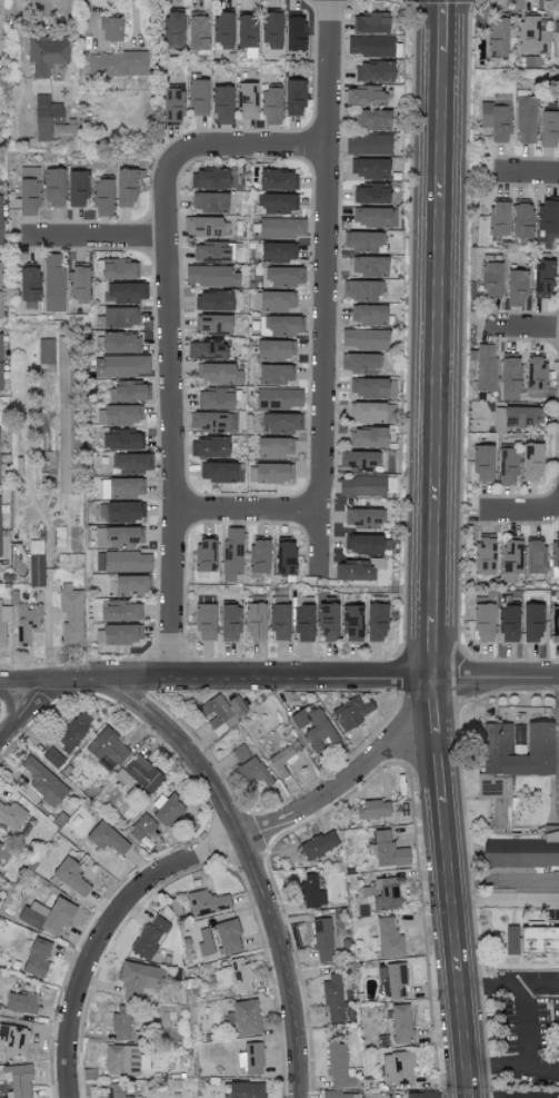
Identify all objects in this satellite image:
building: (369, 22)
building: (171, 29)
building: (109, 30)
building: (271, 30)
building: (196, 31)
building: (244, 31)
building: (496, 31)
building: (293, 32)
building: (530, 36)
building: (557, 43)
building: (369, 46)
building: (44, 57)
building: (116, 63)
building: (375, 71)
building: (197, 96)
building: (365, 96)
building: (293, 98)
building: (247, 100)
building: (221, 105)
building: (171, 106)
building: (270, 106)
building: (44, 117)
building: (496, 118)
building: (371, 120)
building: (526, 120)
building: (547, 129)
building: (367, 145)
road: (207, 149)
building: (369, 168)
road: (523, 170)
building: (214, 179)
building: (277, 180)
building: (52, 187)
building: (124, 188)
building: (76, 189)
building: (28, 190)
building: (370, 194)
building: (101, 197)
building: (209, 202)
building: (276, 204)
building: (375, 217)
building: (0, 218)
building: (498, 218)
building: (520, 219)
building: (546, 220)
building: (203, 227)
building: (280, 228)
road: (90, 241)
building: (362, 241)
building: (211, 251)
building: (277, 253)
building: (369, 266)
building: (116, 269)
building: (0, 273)
building: (210, 276)
building: (282, 277)
building: (491, 277)
building: (541, 278)
building: (78, 281)
building: (52, 283)
building: (28, 285)
building: (515, 288)
building: (127, 291)
road: (323, 291)
building: (213, 300)
building: (276, 300)
building: (369, 315)
building: (119, 317)
building: (212, 325)
road: (520, 325)
building: (280, 326)
building: (363, 339)
building: (119, 343)
building: (207, 350)
building: (273, 350)
building: (46, 352)
building: (0, 359)
building: (361, 363)
building: (120, 366)
building: (485, 368)
building: (219, 374)
building: (274, 374)
building: (535, 375)
building: (508, 377)
building: (367, 388)
building: (130, 392)
building: (217, 398)
building: (278, 398)
building: (366, 413)
building: (64, 414)
building: (118, 415)
building: (516, 417)
building: (213, 423)
building: (282, 424)
building: (369, 438)
building: (123, 441)
road: (172, 443)
building: (209, 447)
building: (273, 448)
building: (359, 461)
building: (530, 463)
building: (132, 464)
building: (482, 464)
building: (506, 466)
building: (221, 473)
building: (269, 474)
building: (361, 486)
building: (124, 487)
road: (521, 512)
building: (120, 513)
road: (248, 513)
building: (362, 520)
building: (59, 537)
building: (118, 537)
building: (363, 545)
road: (431, 550)
building: (231, 551)
building: (0, 553)
building: (485, 554)
building: (555, 555)
building: (203, 556)
building: (533, 557)
building: (258, 558)
building: (285, 560)
building: (70, 561)
building: (122, 562)
building: (510, 563)
building: (357, 571)
building: (130, 585)
building: (278, 601)
building: (121, 612)
building: (70, 615)
building: (507, 619)
building: (482, 621)
building: (3, 622)
building: (204, 622)
building: (327, 622)
building: (26, 623)
building: (229, 623)
building: (254, 623)
building: (279, 623)
building: (375, 623)
building: (531, 623)
building: (303, 624)
building: (351, 624)
building: (555, 625)
building: (117, 635)
road: (279, 682)
road: (24, 709)
building: (221, 711)
building: (351, 711)
building: (313, 728)
building: (73, 729)
building: (496, 738)
building: (107, 749)
building: (52, 758)
building: (280, 761)
building: (248, 765)
building: (143, 773)
building: (42, 782)
road: (345, 787)
building: (495, 800)
building: (371, 809)
building: (167, 810)
building: (11, 814)
building: (142, 830)
building: (106, 838)
building: (318, 844)
building: (386, 849)
building: (519, 852)
building: (7, 854)
road: (254, 868)
building: (70, 876)
road: (503, 881)
building: (311, 891)
building: (382, 893)
road: (505, 901)
building: (206, 902)
building: (174, 907)
building: (47, 916)
road: (106, 934)
building: (149, 936)
building: (227, 936)
building: (388, 937)
building: (321, 938)
building: (510, 939)
building: (204, 942)
building: (186, 943)
building: (36, 957)
building: (240, 975)
building: (222, 977)
building: (138, 978)
building: (391, 980)
road: (541, 986)
road: (525, 992)
building: (333, 999)
building: (19, 1002)
building: (244, 1017)
building: (120, 1021)
building: (400, 1023)
building: (13, 1040)
building: (250, 1058)
building: (123, 1059)
building: (338, 1066)
road: (512, 1066)
building: (396, 1068)
building: (17, 1079)
building: (244, 1089)
building: (114, 1090)
building: (340, 1095)
building: (420, 1095)
road: (523, 1096)

